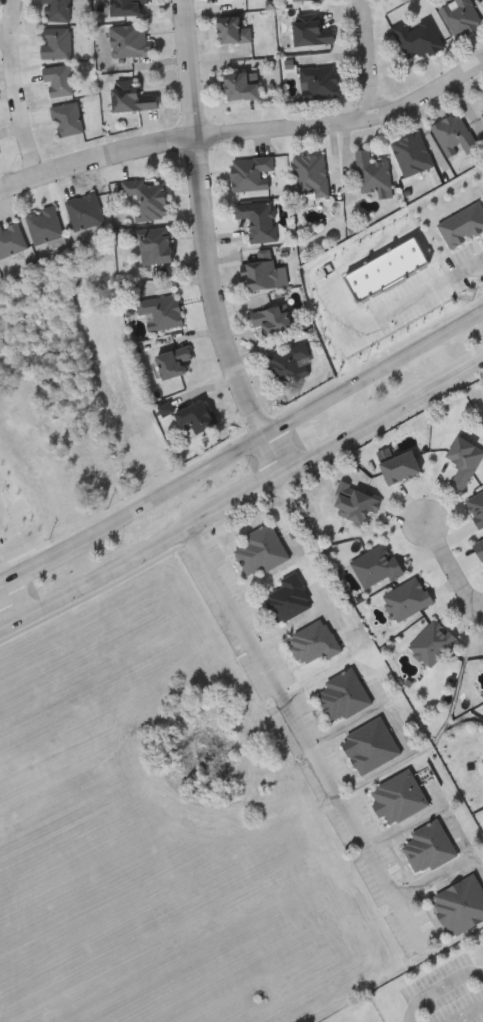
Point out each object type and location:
building: (309, 0)
building: (127, 6)
building: (58, 9)
building: (462, 17)
building: (235, 29)
road: (6, 30)
building: (311, 31)
building: (417, 38)
building: (130, 40)
building: (57, 42)
road: (368, 57)
building: (59, 79)
building: (320, 81)
building: (242, 86)
road: (16, 88)
building: (131, 97)
building: (482, 111)
building: (482, 114)
building: (68, 118)
road: (244, 130)
building: (454, 135)
building: (413, 154)
building: (251, 172)
building: (373, 172)
building: (311, 175)
building: (148, 198)
building: (85, 210)
building: (259, 219)
building: (45, 223)
building: (11, 238)
road: (209, 242)
building: (156, 244)
road: (467, 269)
building: (264, 270)
building: (162, 312)
building: (271, 319)
building: (174, 361)
building: (289, 363)
building: (482, 393)
building: (195, 417)
road: (242, 445)
building: (464, 460)
building: (400, 465)
road: (242, 495)
building: (355, 501)
building: (476, 506)
road: (4, 515)
building: (479, 547)
building: (260, 550)
building: (376, 566)
road: (453, 567)
road: (1, 576)
building: (289, 597)
building: (408, 597)
building: (314, 641)
building: (433, 642)
building: (343, 695)
road: (248, 703)
road: (305, 738)
building: (370, 745)
building: (398, 797)
building: (428, 847)
building: (461, 904)
road: (434, 991)
parking lot: (451, 993)
park: (358, 1012)
road: (470, 1015)

